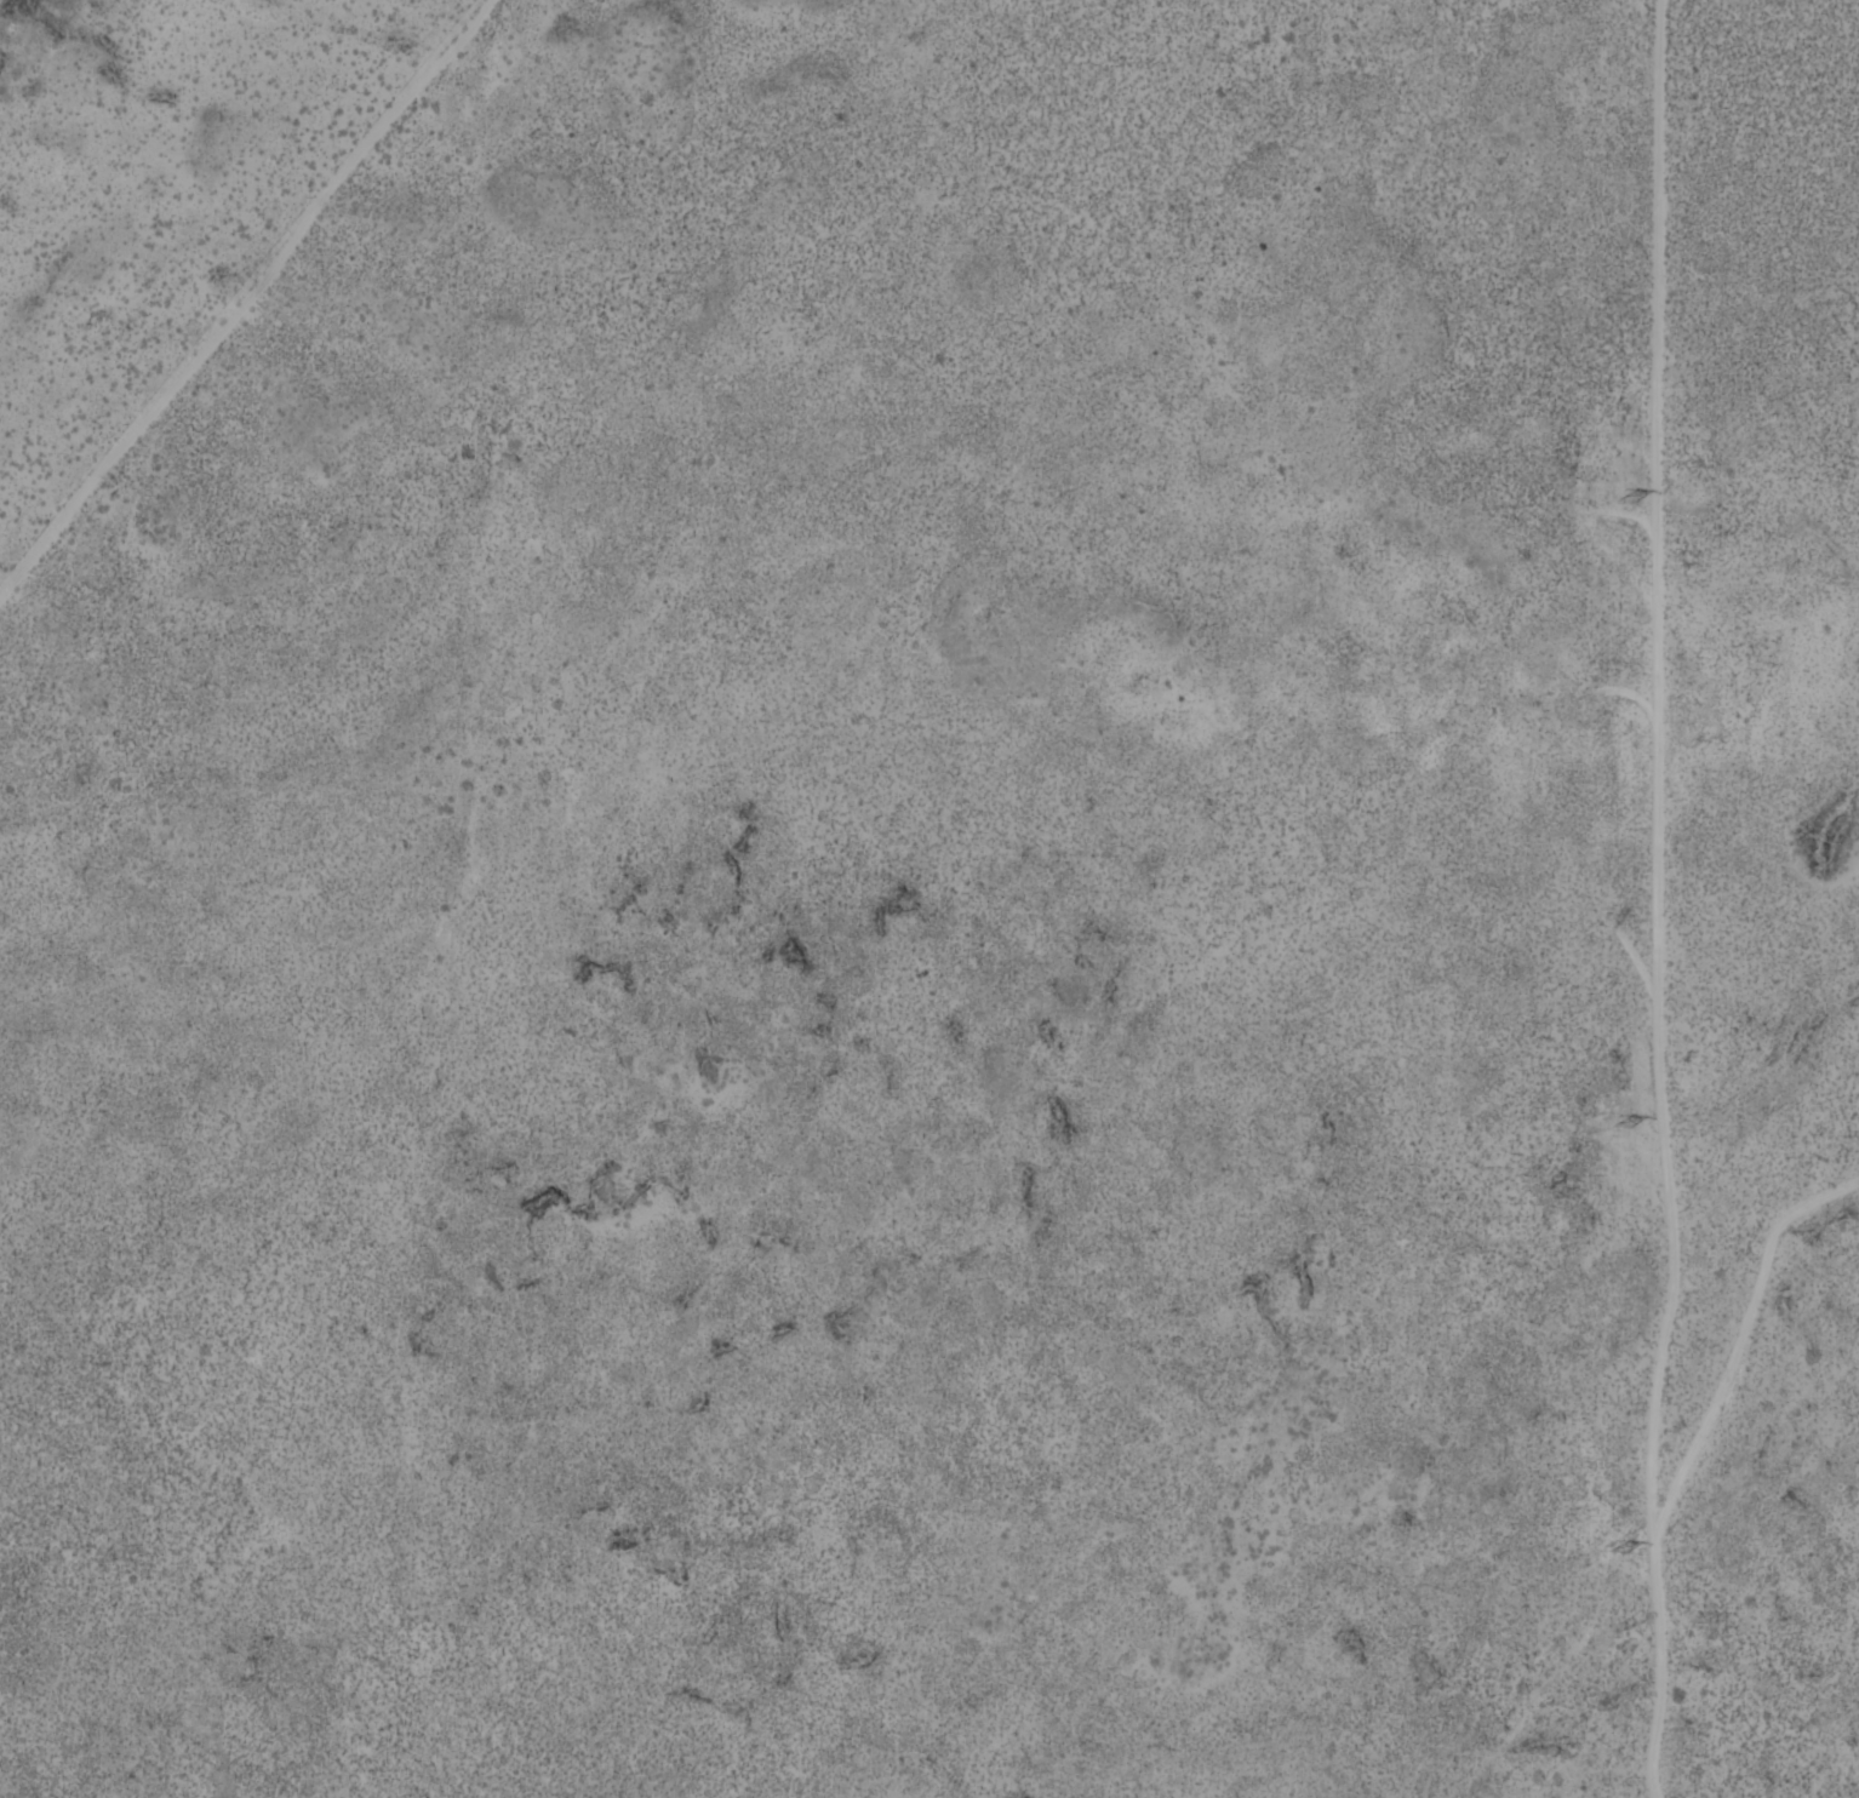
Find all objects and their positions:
power tower: (1630, 503)
power tower: (1634, 1127)
road: (1698, 1458)
power tower: (1638, 1554)
road: (1603, 1584)

